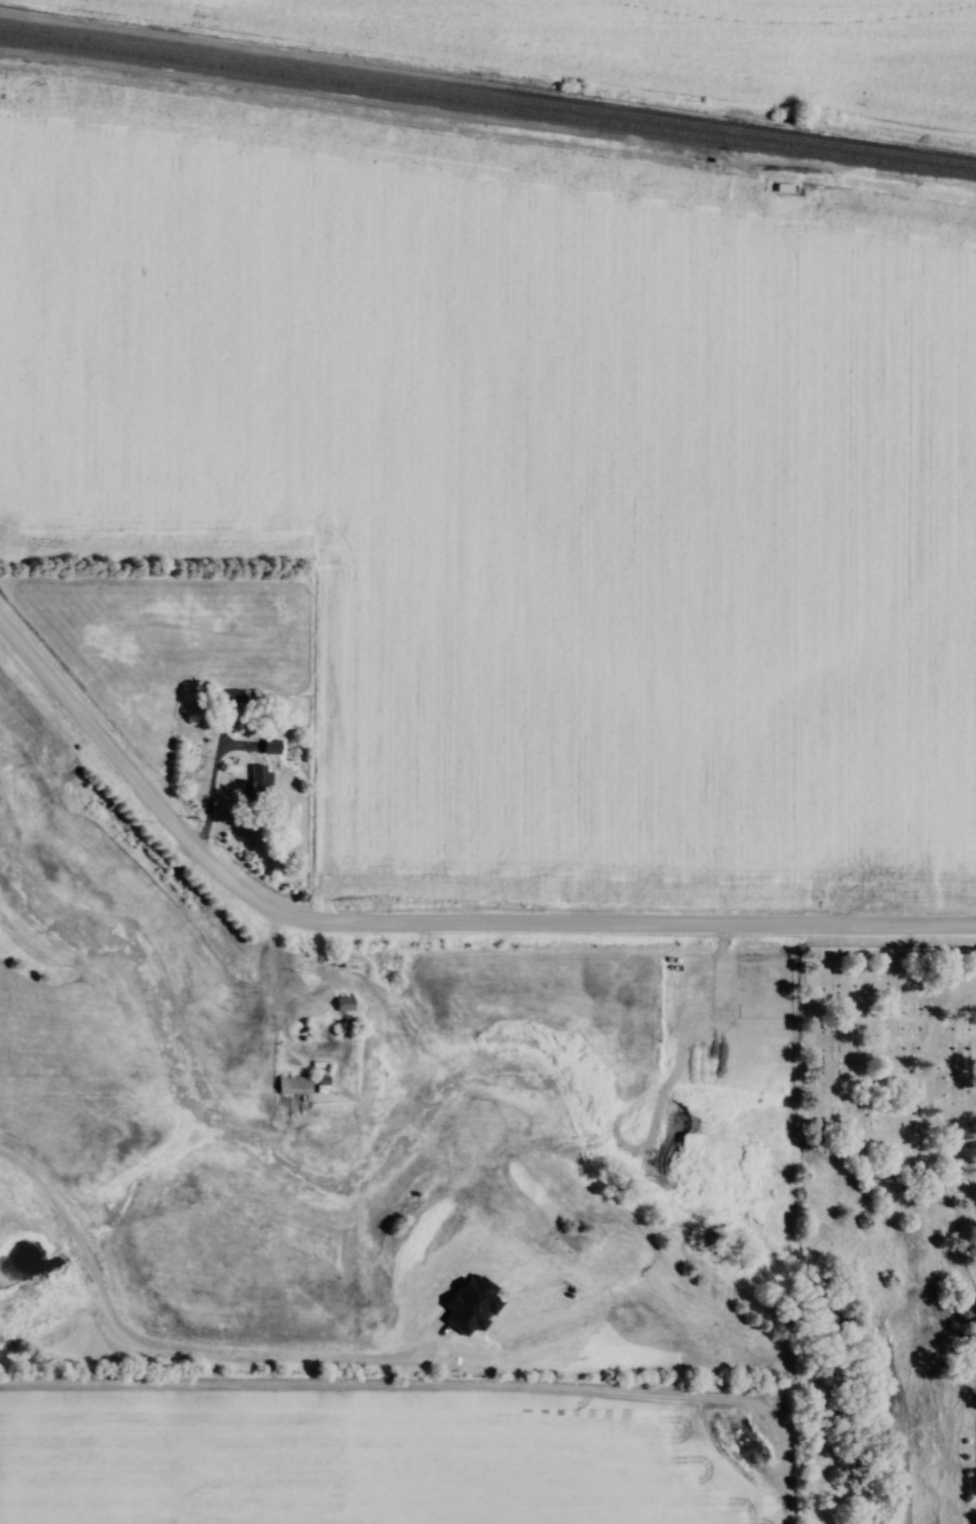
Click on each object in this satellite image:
railway: (487, 95)
railway: (487, 106)
crop: (525, 483)
building: (243, 698)
building: (269, 747)
building: (256, 782)
road: (424, 925)
road: (809, 1055)
road: (920, 1076)
building: (319, 1080)
building: (291, 1084)
park: (885, 1233)
crop: (377, 1459)

